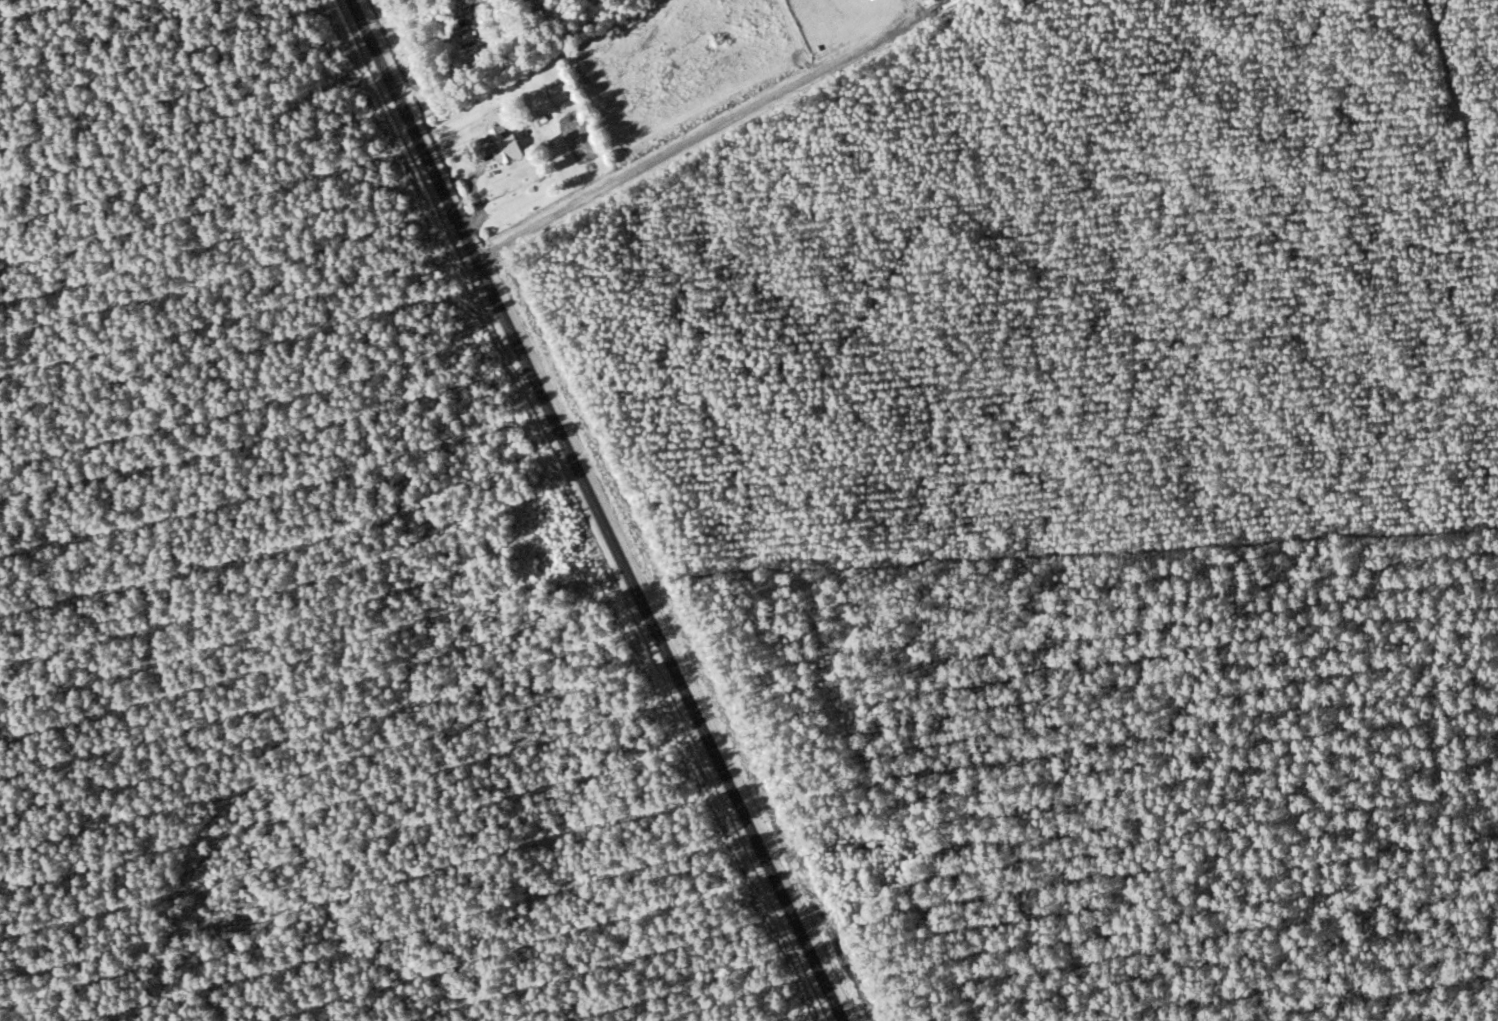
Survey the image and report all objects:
building: (460, 34)
building: (501, 144)
road: (601, 509)

